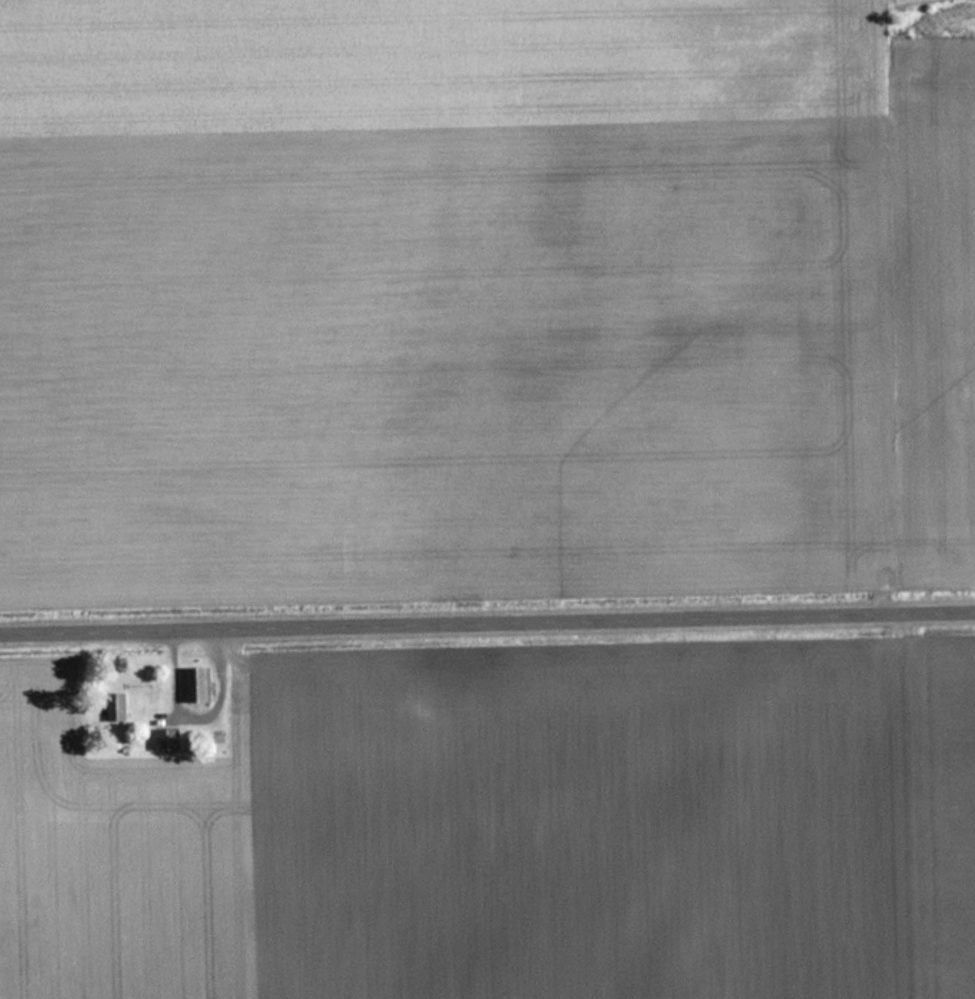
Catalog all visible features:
road: (487, 621)
building: (200, 683)
building: (118, 706)
building: (173, 738)

